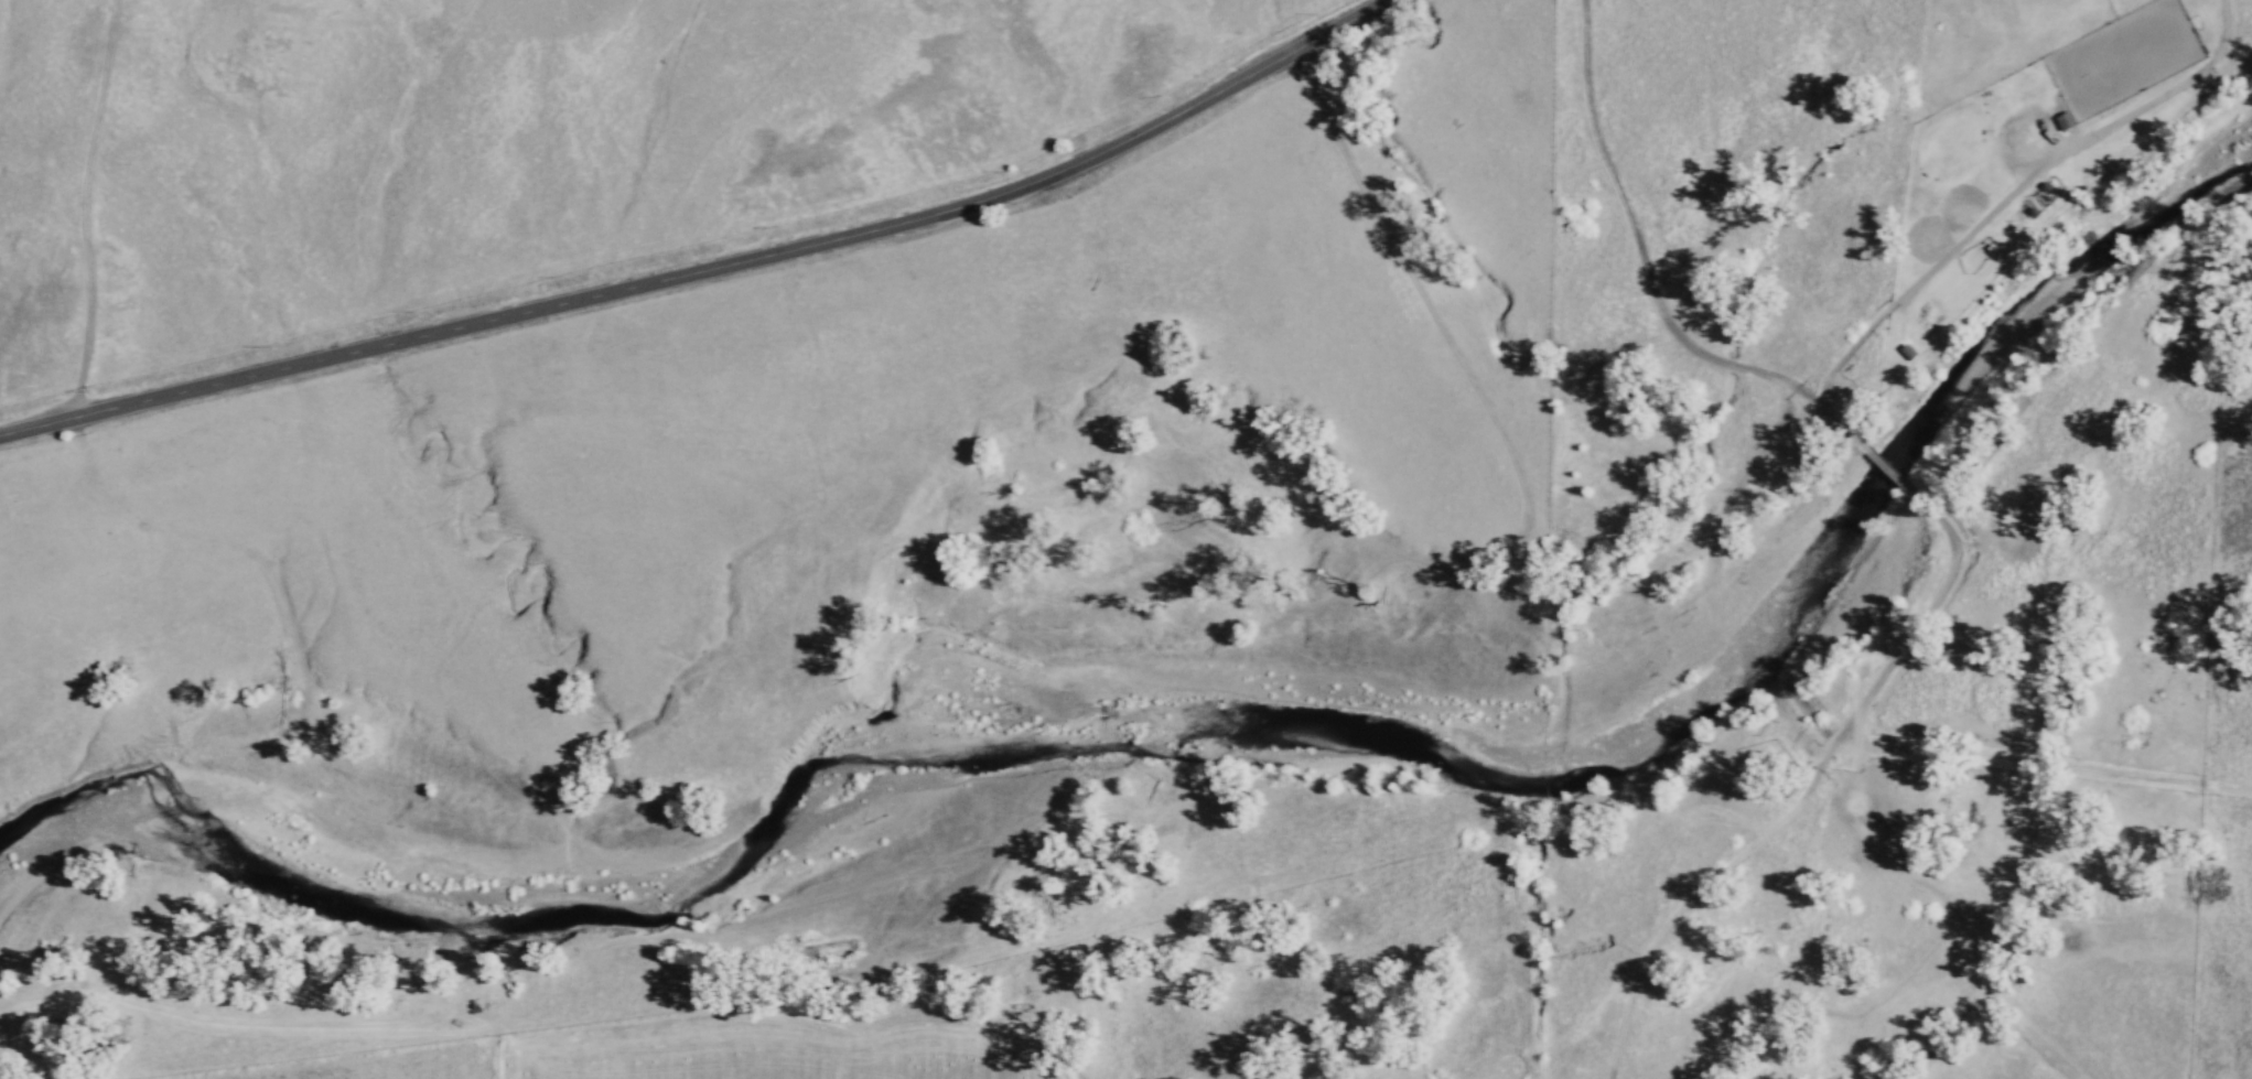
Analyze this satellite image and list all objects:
building: (2064, 120)
crop: (1725, 197)
road: (83, 208)
road: (711, 271)
river: (1964, 369)
road: (1523, 497)
road: (303, 702)
river: (1027, 745)
river: (166, 808)

